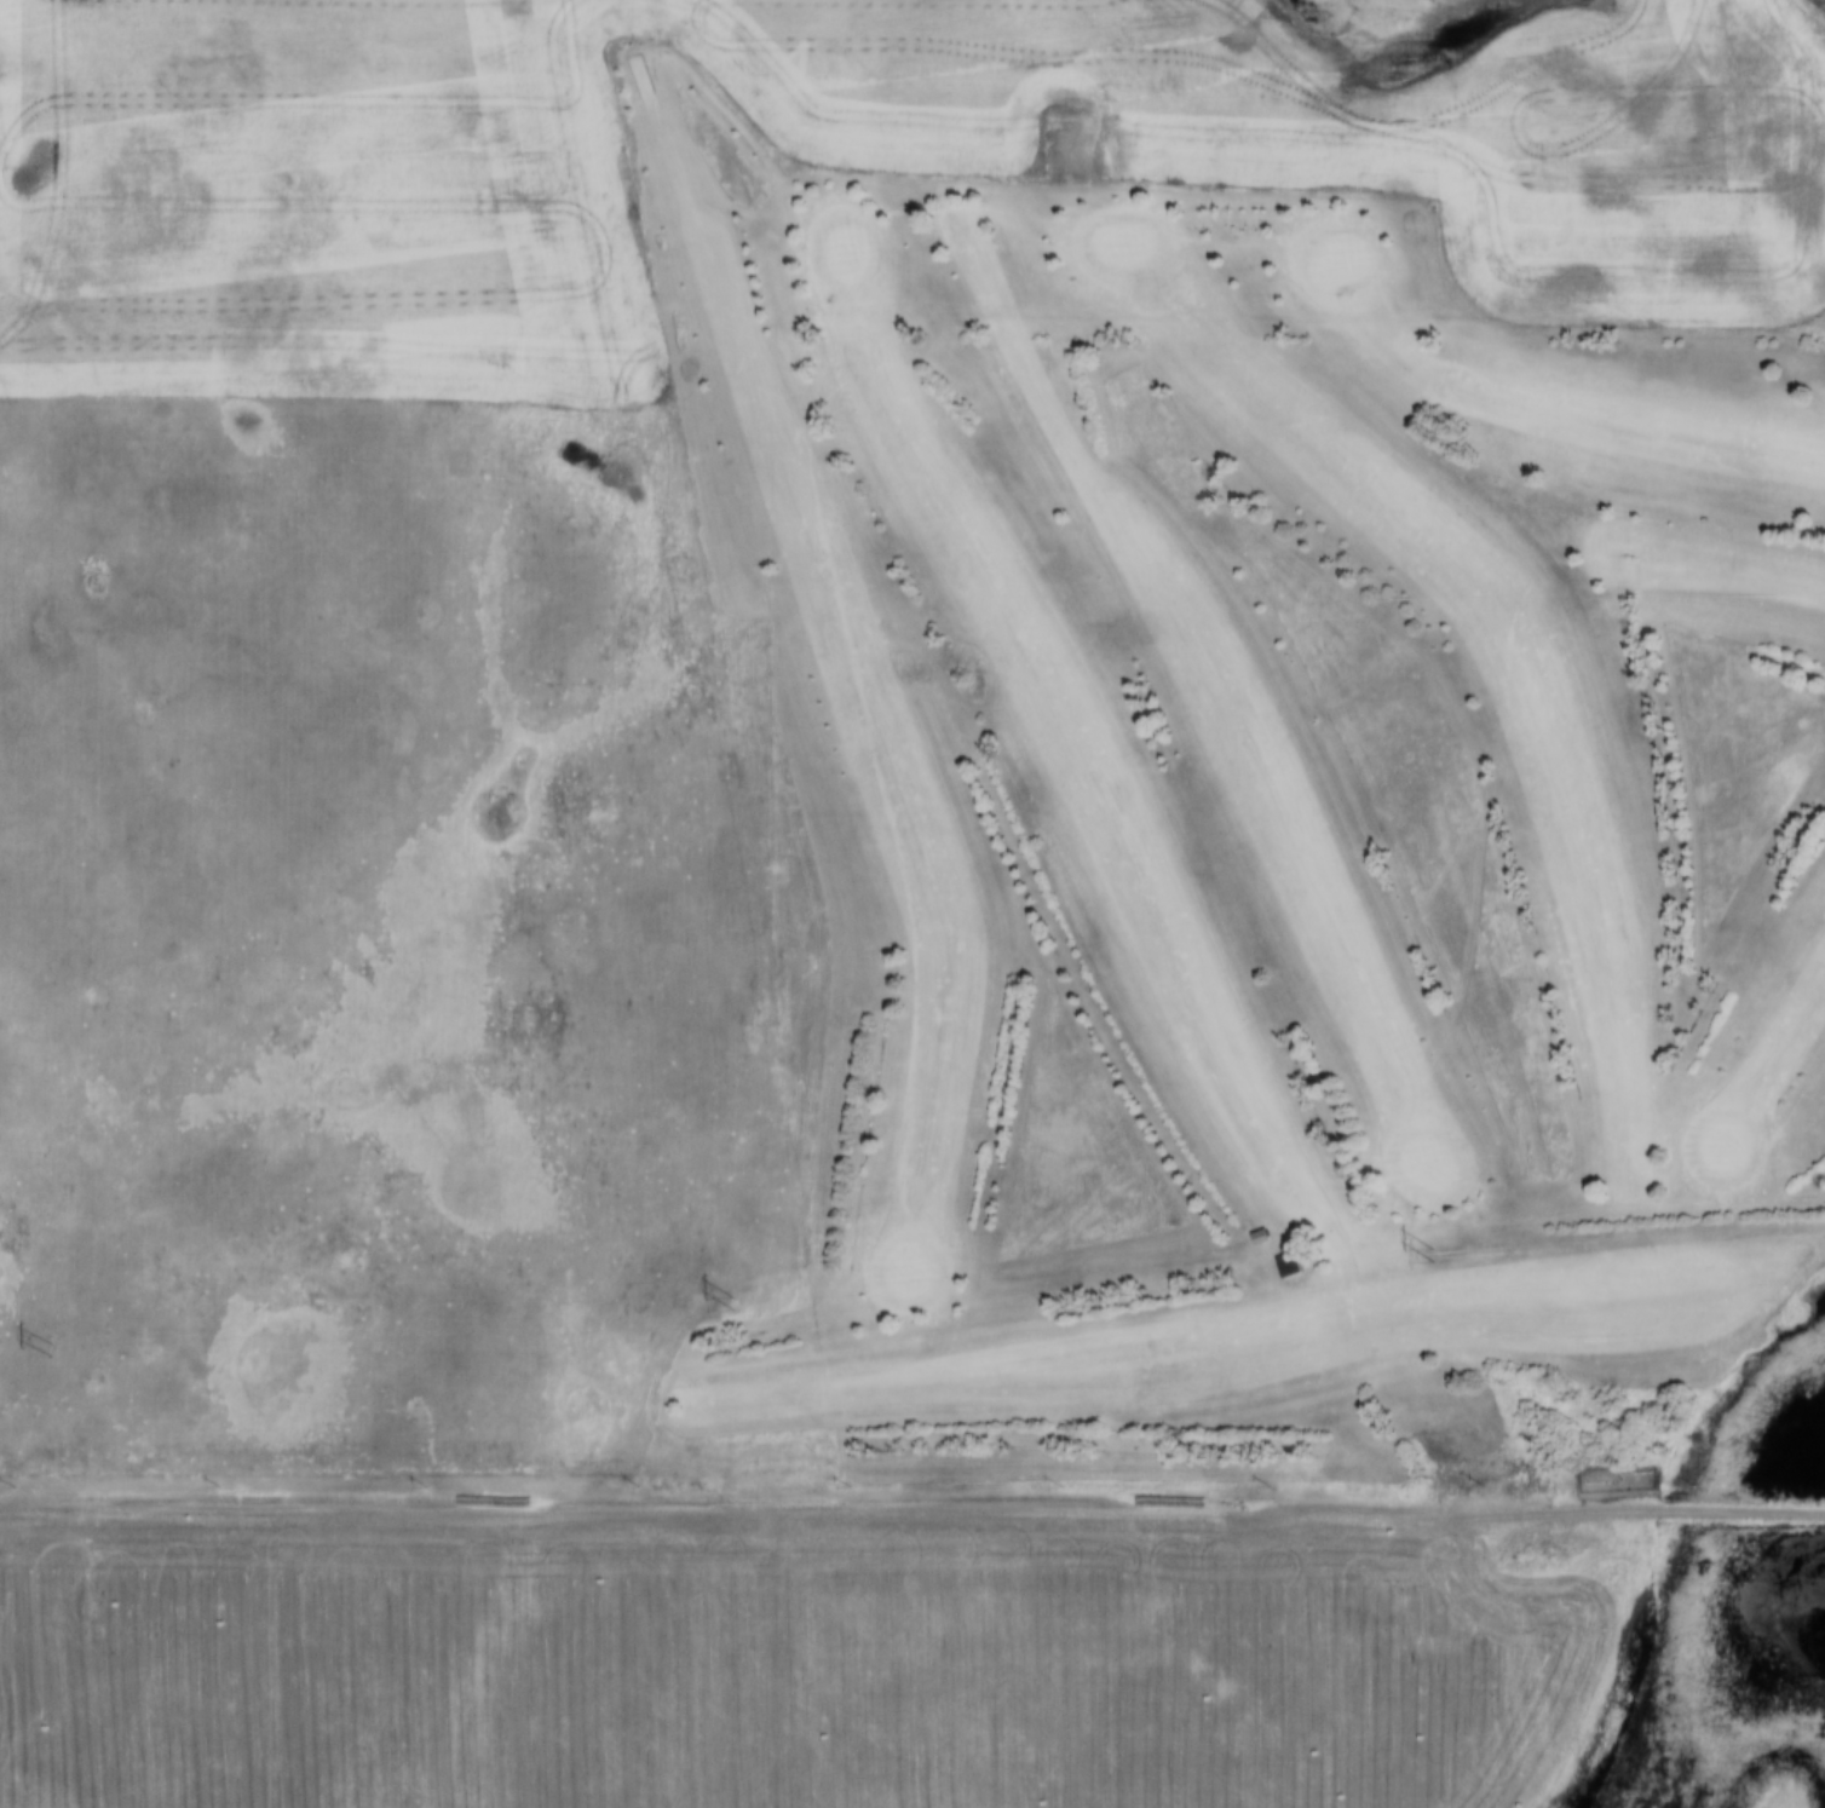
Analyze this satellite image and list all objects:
building: (1289, 1265)
road: (1547, 1525)

